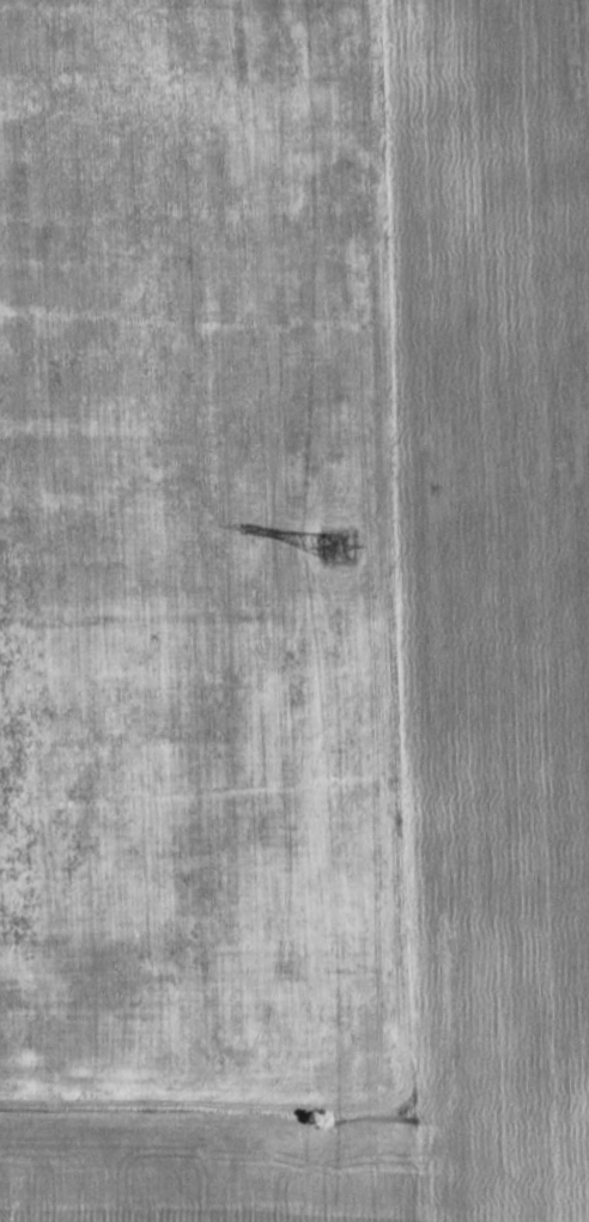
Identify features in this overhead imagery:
power tower: (338, 549)
crop: (494, 596)
crop: (200, 618)

